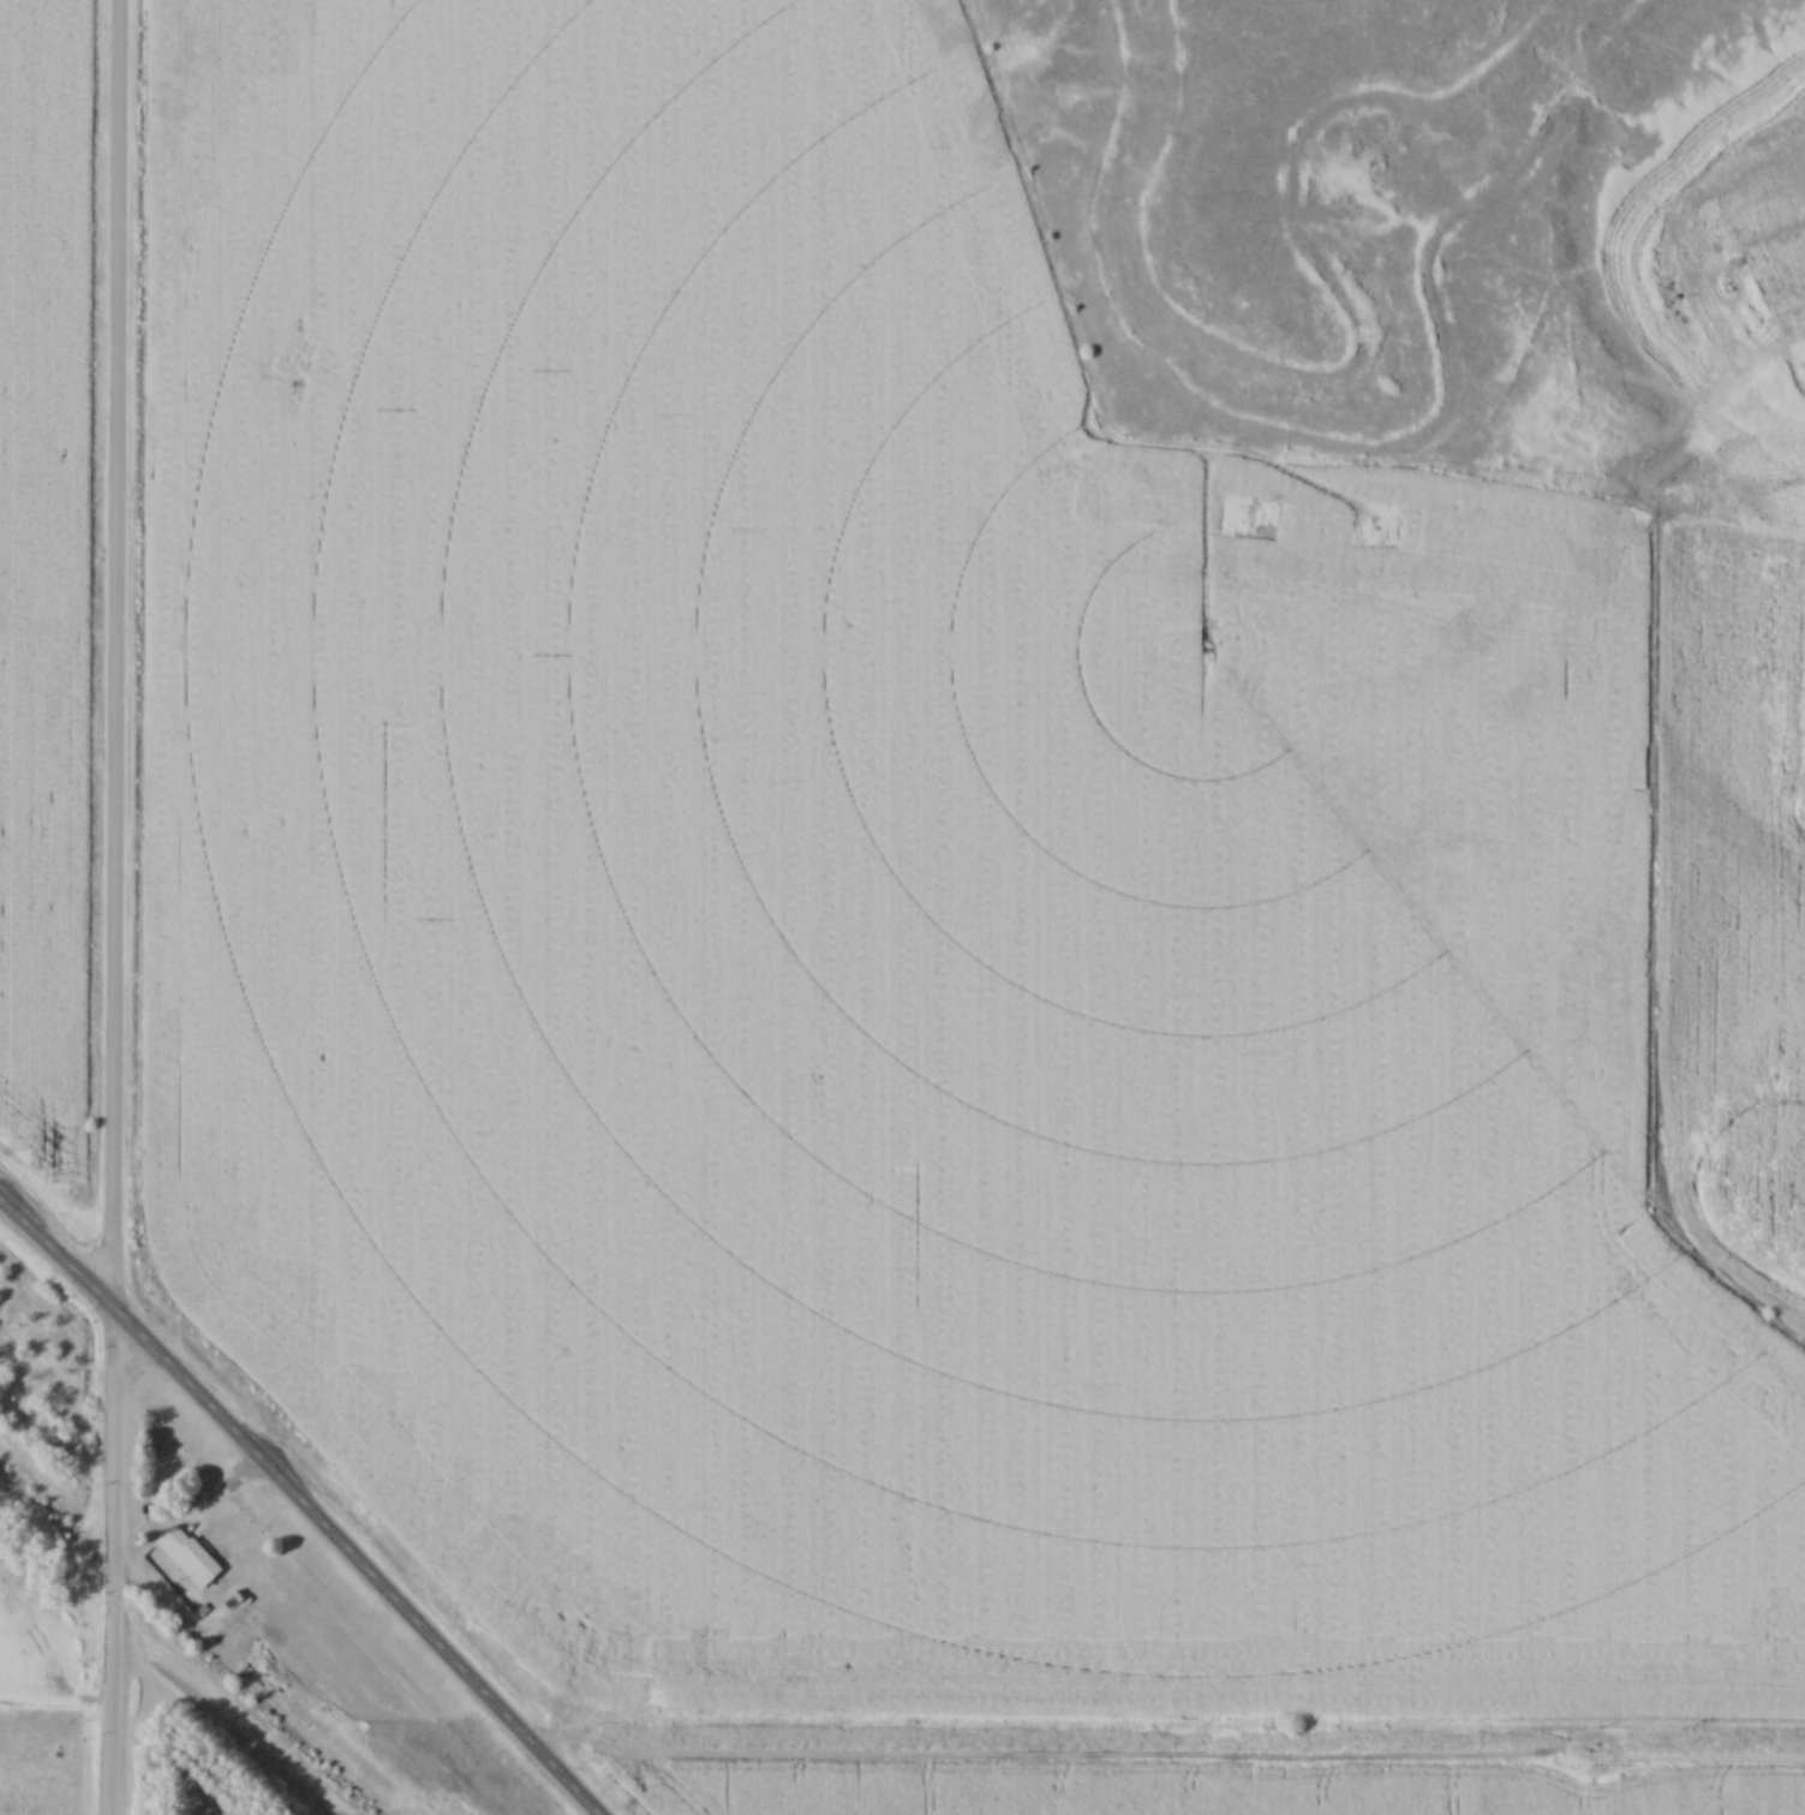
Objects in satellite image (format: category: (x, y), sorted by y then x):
road: (112, 661)
road: (56, 1268)
building: (189, 1556)
road: (351, 1566)
road: (113, 1569)
railway: (183, 1638)

